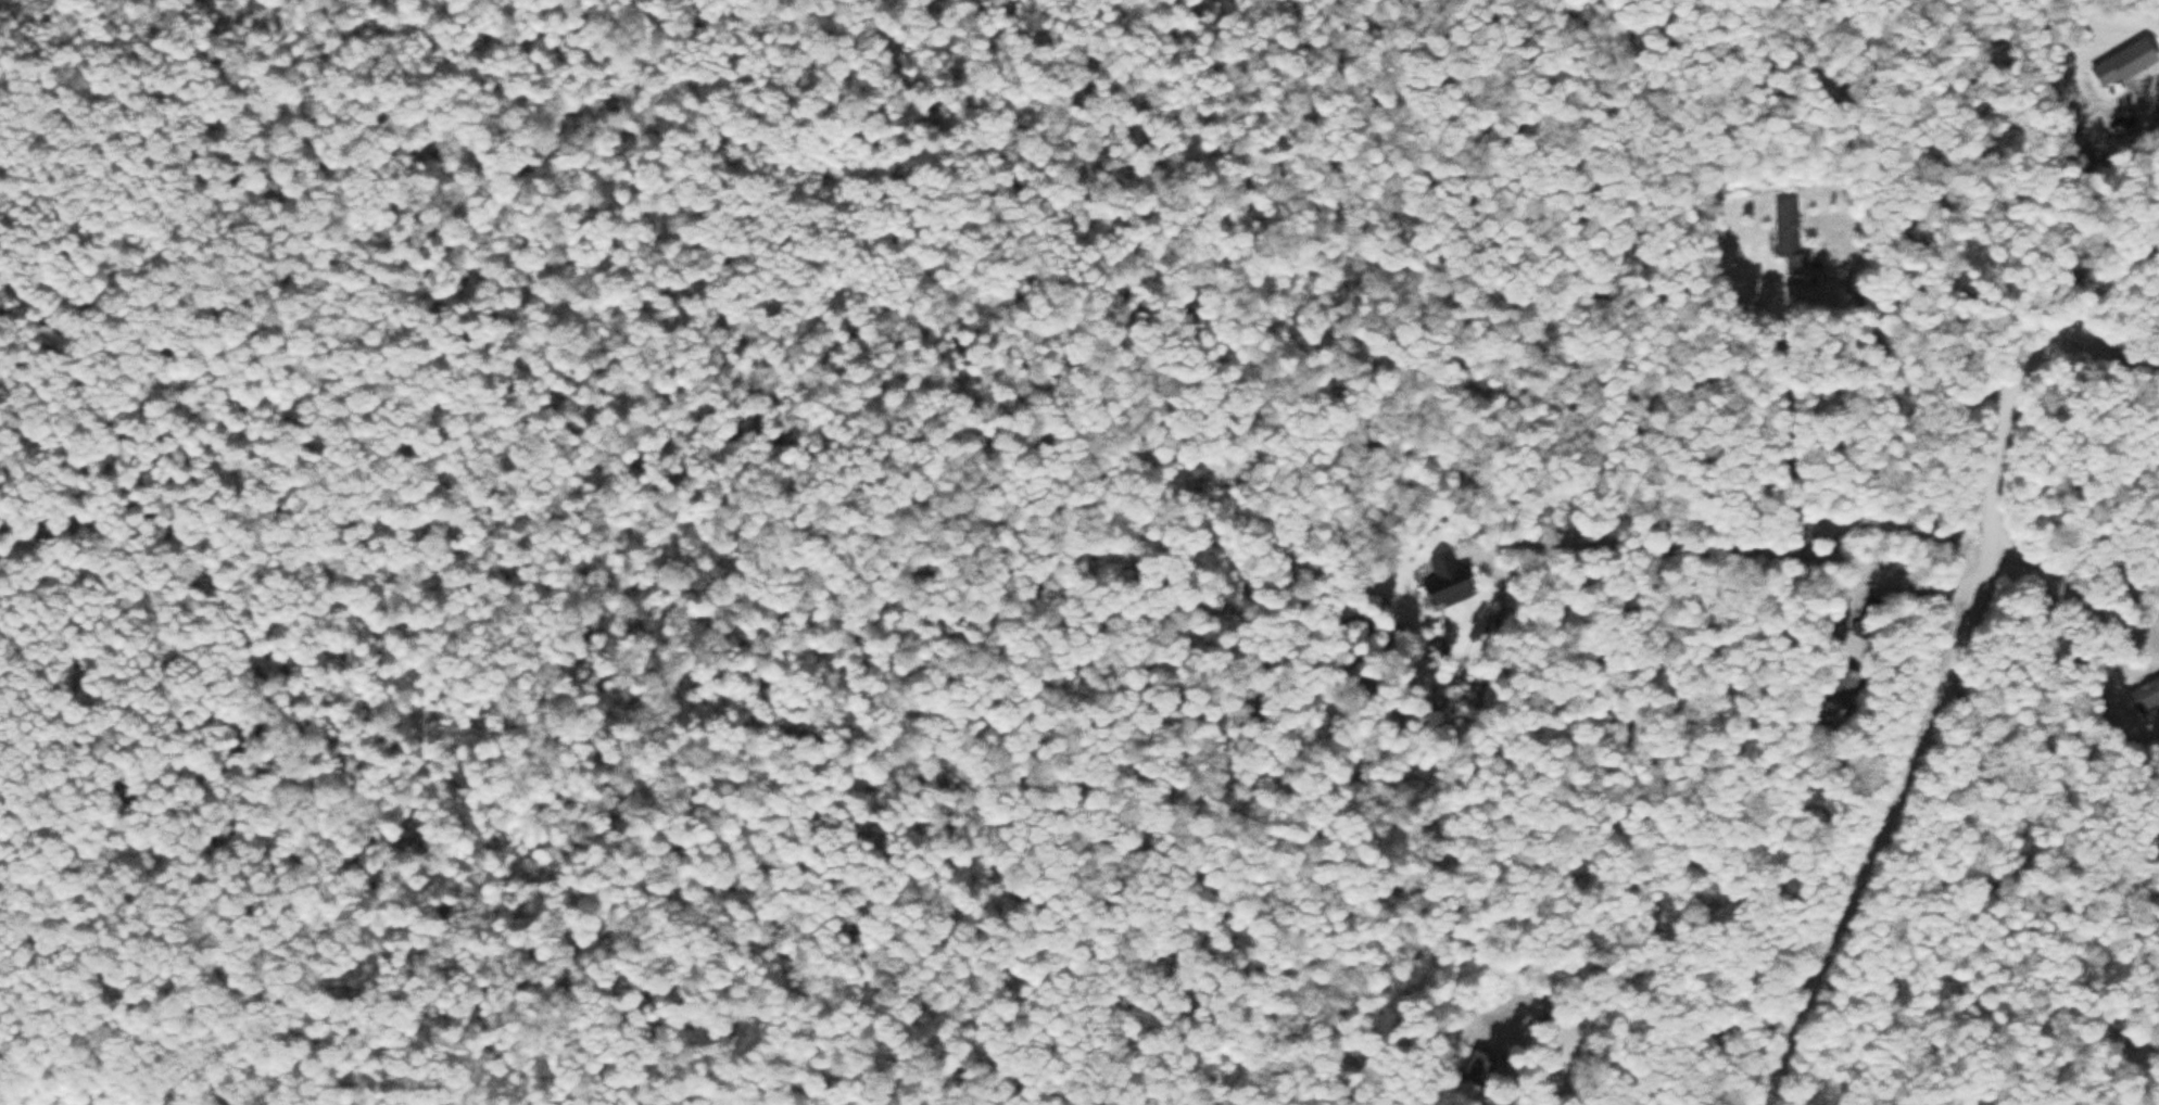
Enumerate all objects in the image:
building: (1788, 238)
road: (2145, 242)
building: (1445, 582)
building: (1842, 688)
building: (2145, 691)
building: (1544, 1018)
building: (1477, 1069)

